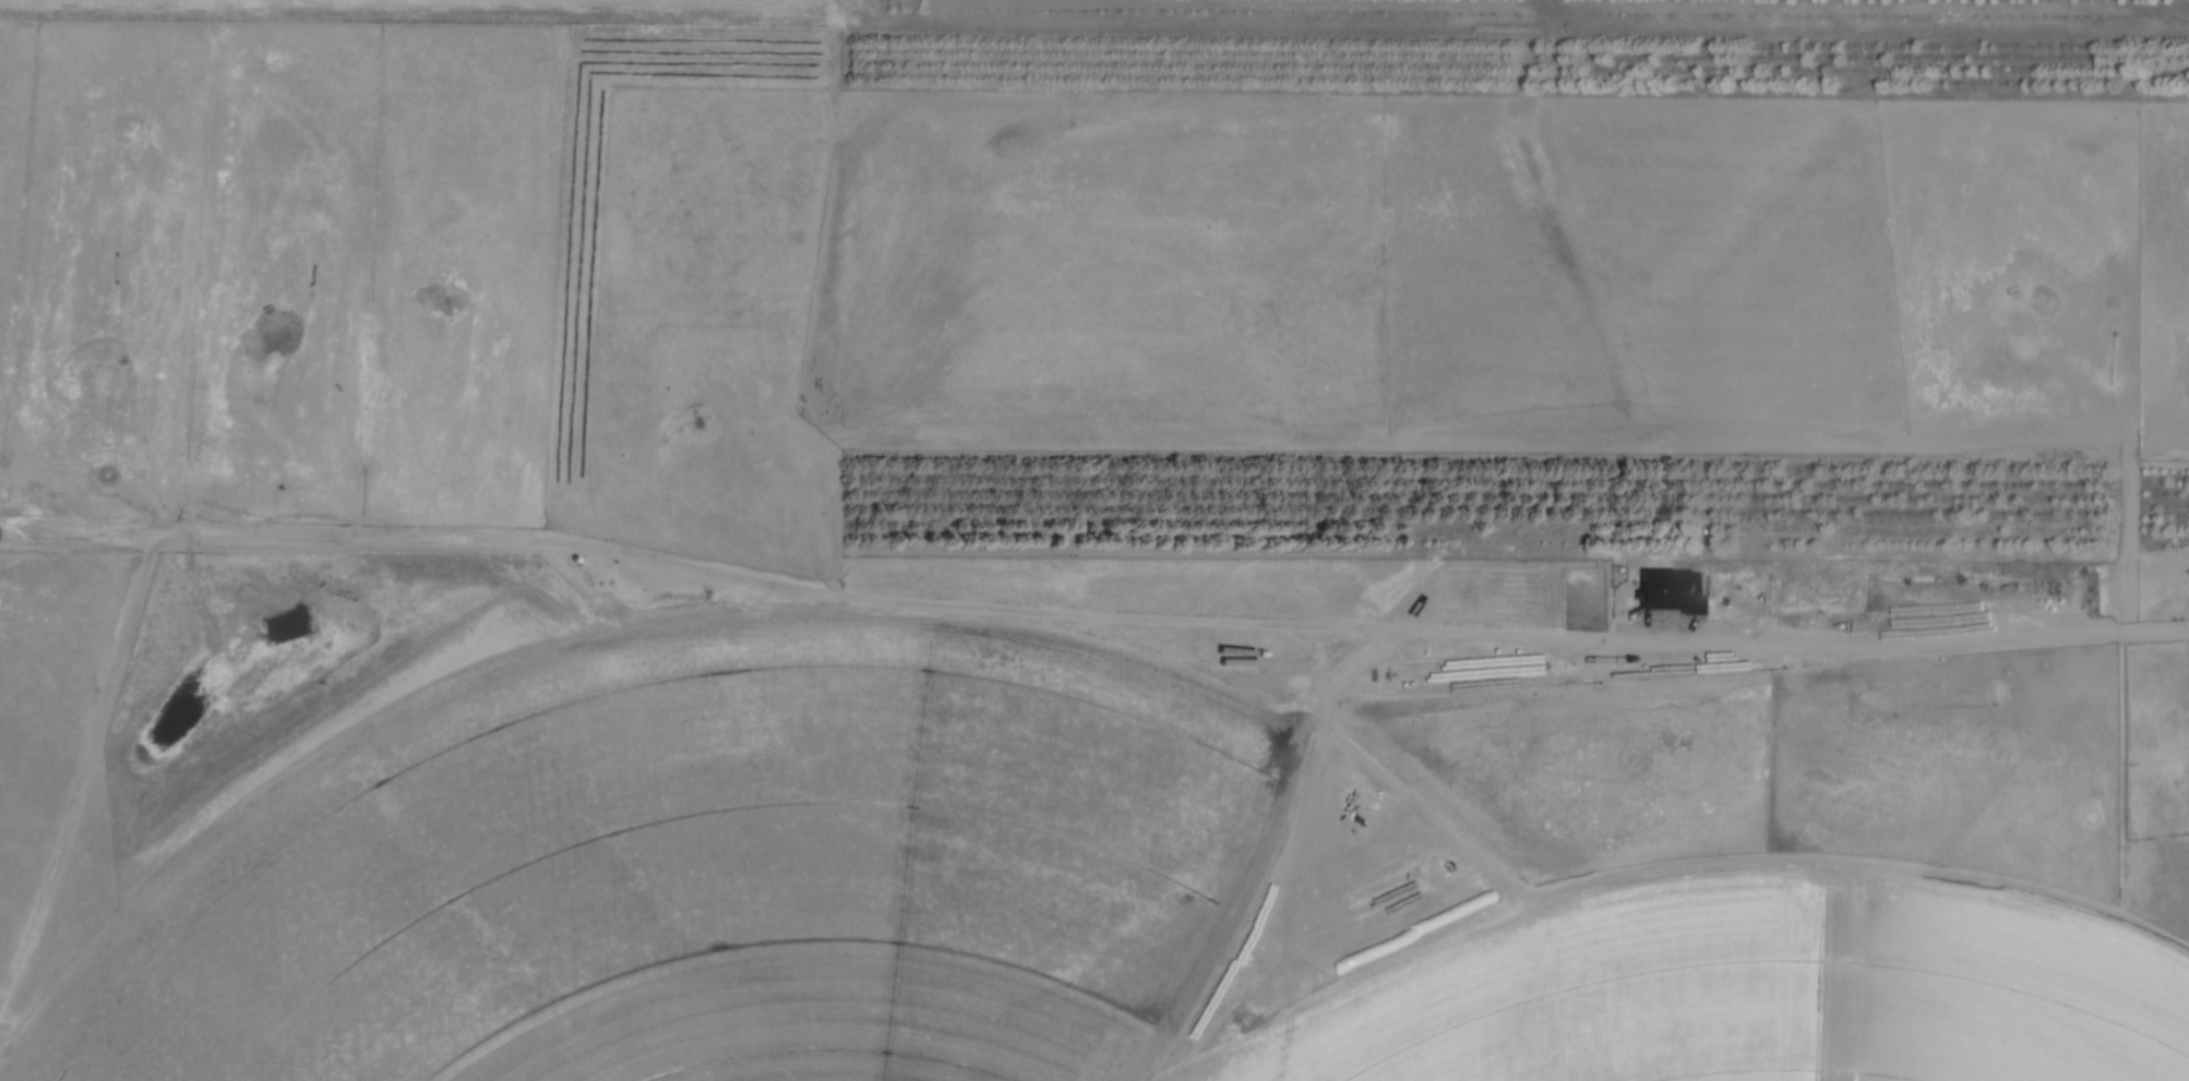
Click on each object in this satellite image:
crop: (542, 1)
crop: (1018, 268)
road: (1091, 611)
road: (1873, 867)
crop: (1007, 913)

